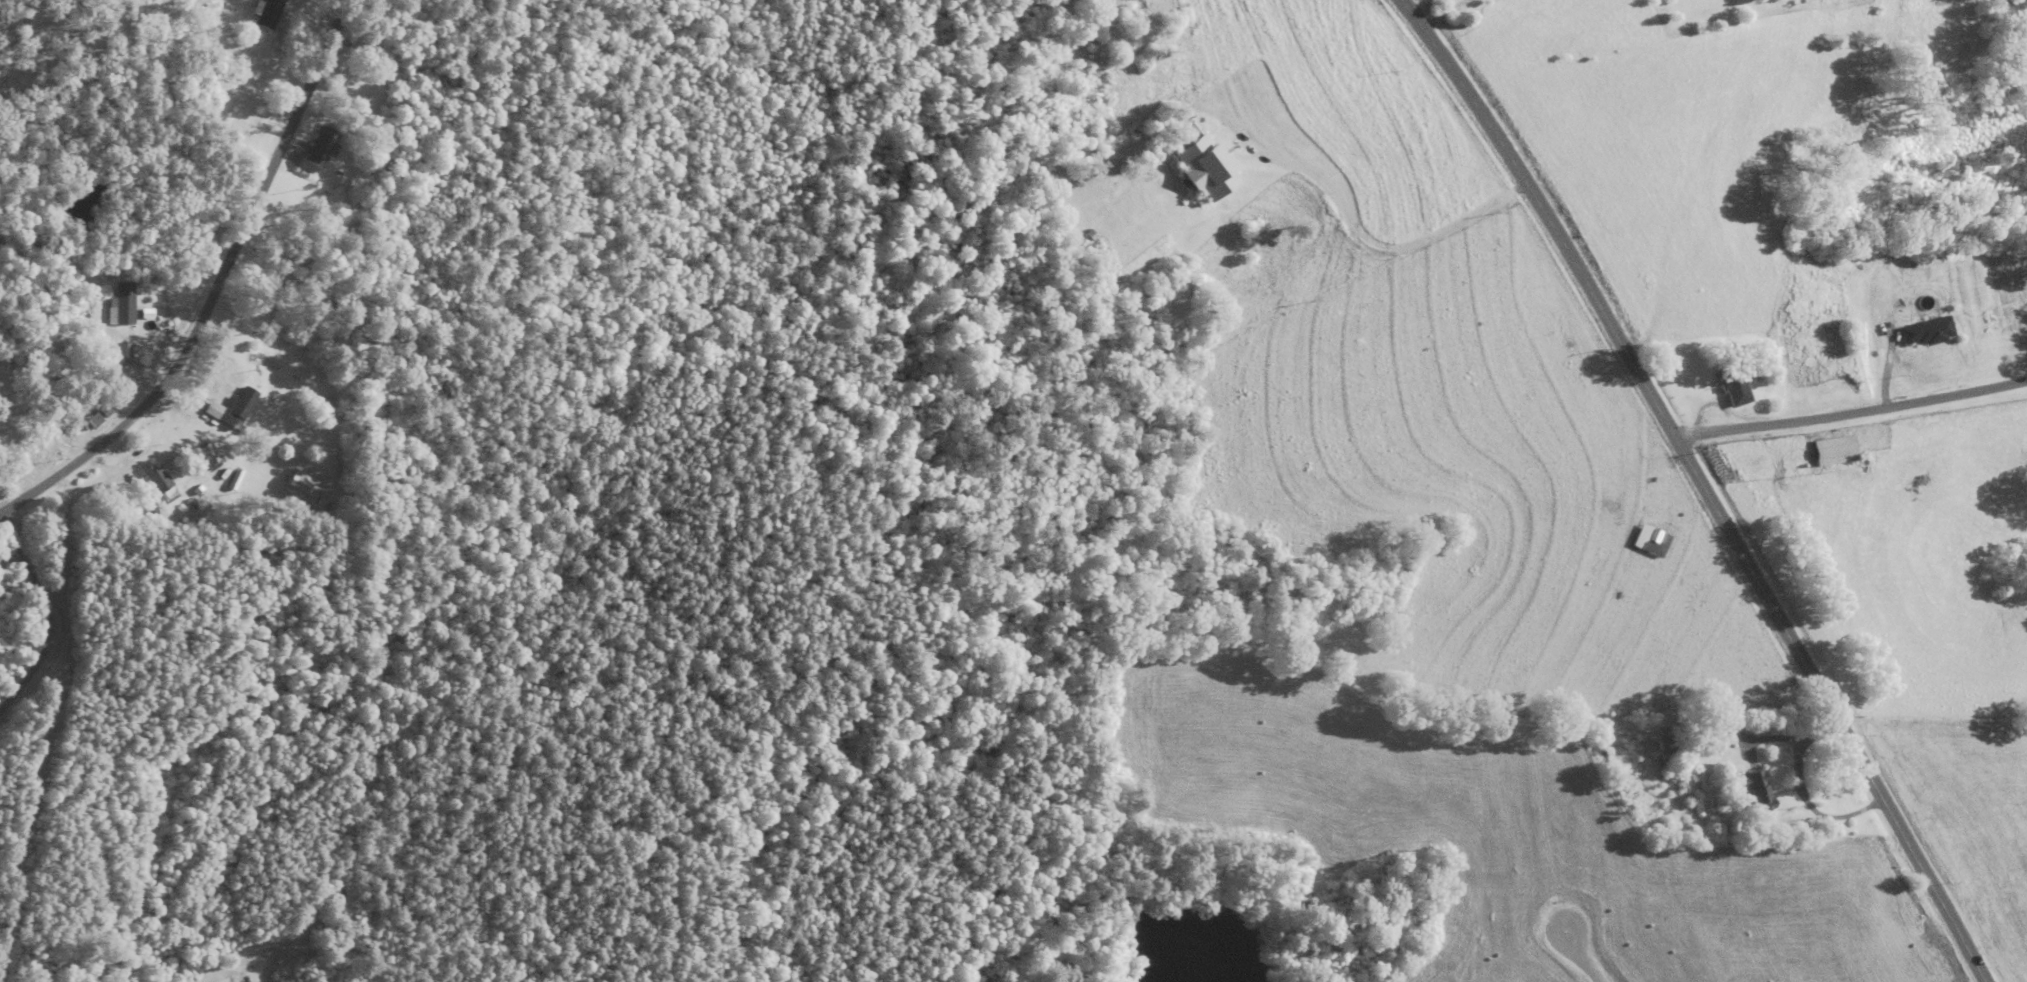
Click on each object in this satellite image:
road: (1443, 12)
building: (268, 14)
building: (358, 40)
building: (321, 151)
building: (1210, 170)
building: (122, 306)
road: (252, 311)
building: (1922, 333)
building: (1729, 386)
building: (239, 411)
road: (1851, 411)
building: (1829, 451)
building: (1, 481)
road: (1702, 483)
building: (303, 489)
building: (1647, 542)
building: (1662, 749)
road: (115, 782)
building: (1747, 791)

